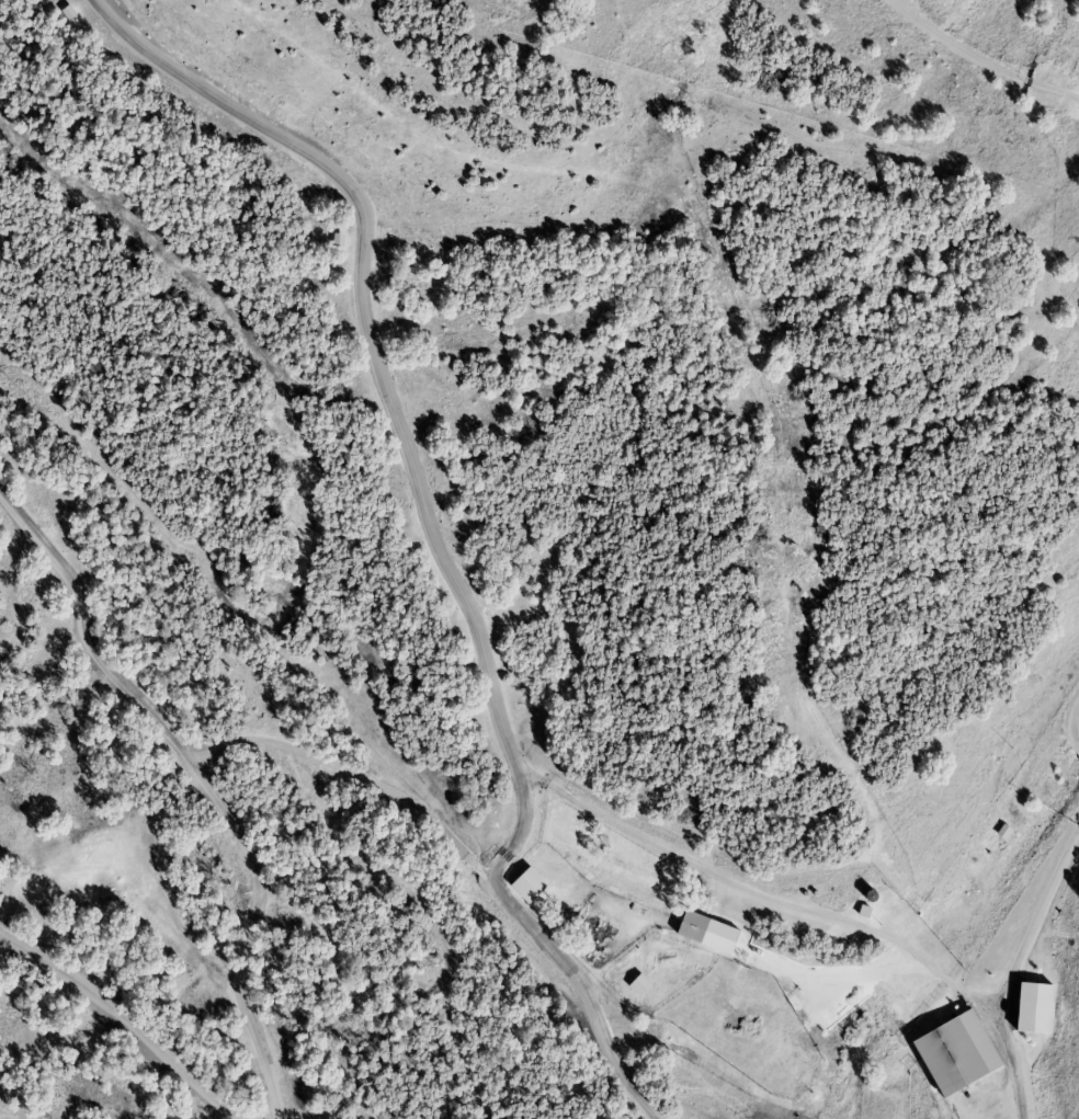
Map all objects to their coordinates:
road: (981, 57)
road: (427, 523)
road: (1077, 721)
road: (355, 775)
road: (202, 784)
building: (527, 883)
road: (808, 913)
road: (1033, 915)
building: (691, 926)
building: (638, 984)
building: (1033, 1007)
road: (126, 1017)
building: (955, 1052)

